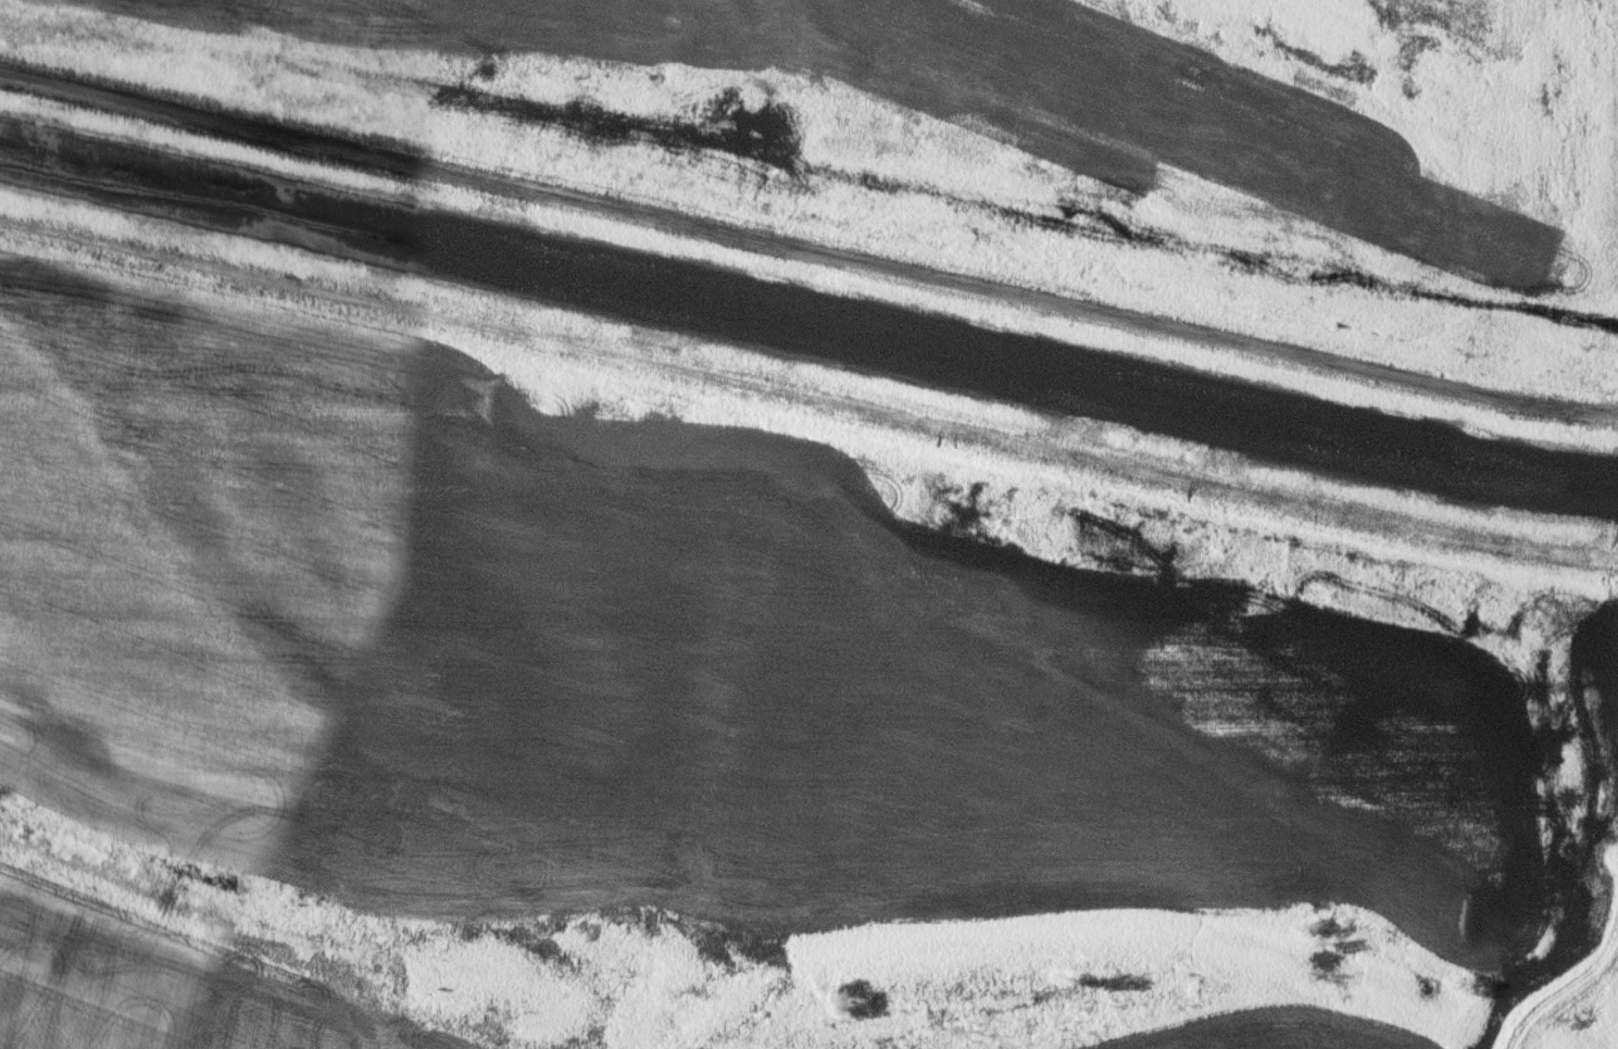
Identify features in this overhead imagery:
road: (807, 250)

